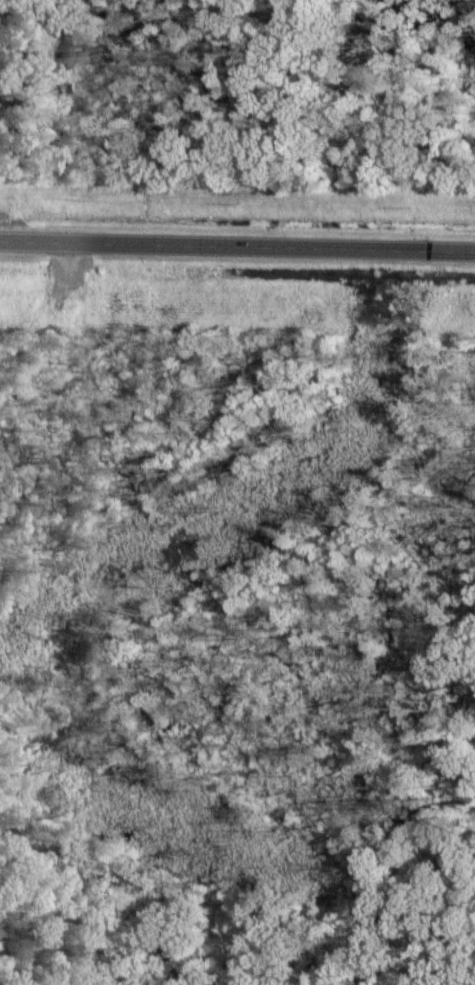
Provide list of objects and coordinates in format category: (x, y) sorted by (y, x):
road: (237, 243)

